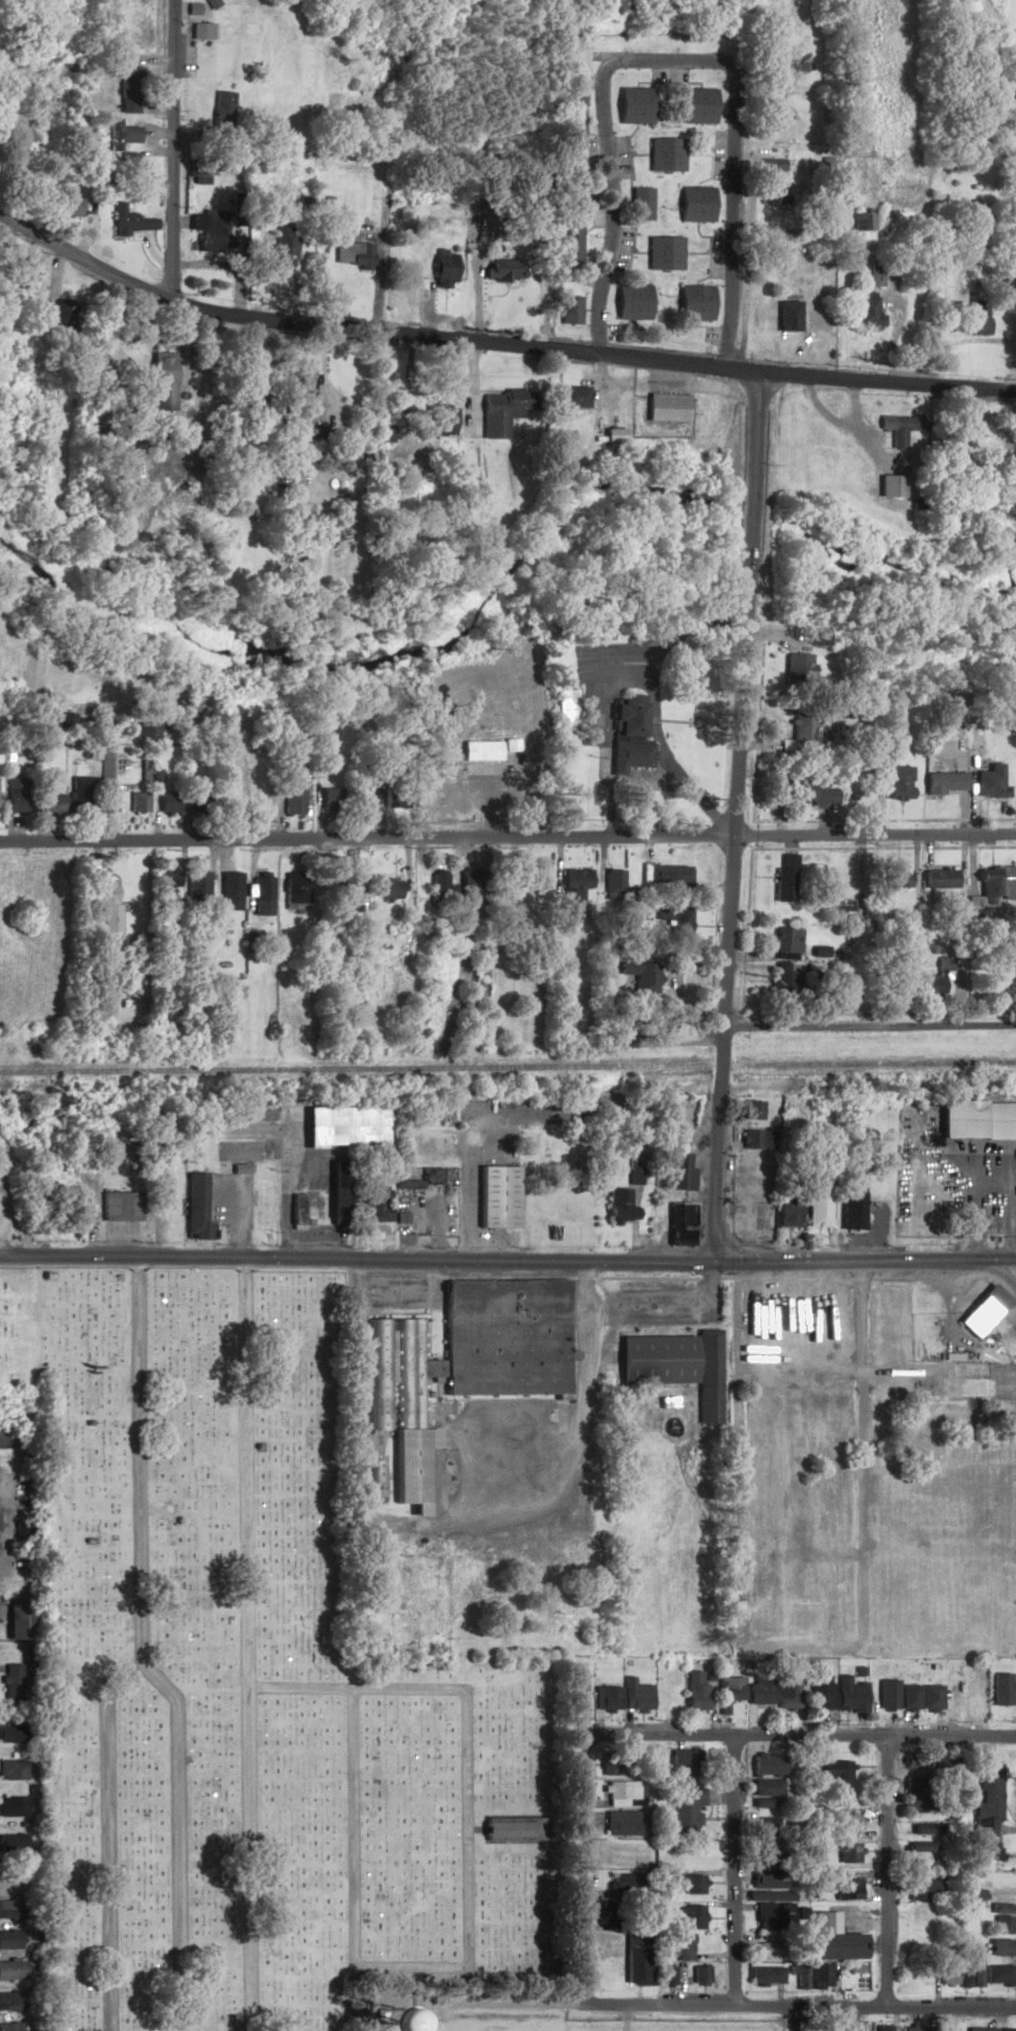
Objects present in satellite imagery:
road: (673, 60)
building: (352, 83)
building: (128, 89)
building: (634, 105)
building: (696, 106)
building: (222, 108)
building: (571, 115)
building: (122, 132)
road: (172, 150)
building: (663, 154)
building: (128, 166)
building: (198, 175)
building: (570, 185)
building: (774, 192)
building: (641, 203)
building: (695, 203)
building: (68, 206)
building: (971, 216)
building: (862, 220)
building: (129, 221)
road: (382, 223)
building: (210, 231)
building: (570, 243)
building: (282, 245)
building: (664, 252)
building: (353, 254)
building: (23, 272)
building: (876, 272)
building: (503, 276)
building: (443, 277)
building: (632, 302)
building: (694, 303)
building: (570, 309)
building: (865, 313)
building: (787, 316)
building: (976, 320)
road: (892, 328)
road: (157, 340)
road: (497, 342)
road: (322, 352)
road: (1015, 363)
building: (161, 381)
building: (299, 391)
building: (568, 397)
building: (511, 401)
building: (667, 408)
building: (438, 420)
building: (899, 428)
building: (889, 486)
building: (153, 692)
building: (59, 721)
building: (798, 729)
building: (140, 733)
building: (562, 734)
building: (626, 735)
building: (478, 750)
road: (104, 782)
building: (894, 783)
building: (941, 783)
building: (987, 783)
building: (11, 795)
building: (75, 795)
building: (809, 795)
building: (288, 797)
building: (360, 798)
building: (324, 800)
building: (46, 803)
building: (133, 803)
building: (162, 803)
road: (730, 818)
road: (507, 837)
building: (663, 875)
building: (936, 879)
building: (892, 880)
building: (162, 881)
building: (782, 882)
building: (610, 884)
building: (572, 885)
building: (193, 886)
building: (995, 886)
building: (435, 888)
building: (386, 889)
building: (464, 889)
building: (225, 891)
building: (290, 891)
building: (349, 893)
building: (257, 896)
building: (103, 907)
building: (841, 909)
building: (672, 921)
building: (784, 940)
building: (1012, 970)
building: (639, 978)
building: (889, 983)
building: (931, 984)
building: (779, 986)
road: (866, 1025)
road: (358, 1056)
railway: (507, 1067)
building: (750, 1110)
building: (251, 1111)
building: (976, 1120)
building: (340, 1127)
building: (754, 1140)
building: (232, 1151)
building: (218, 1168)
parking lot: (299, 1168)
building: (237, 1169)
building: (674, 1171)
building: (418, 1180)
building: (334, 1190)
building: (494, 1197)
building: (849, 1199)
building: (370, 1205)
building: (115, 1206)
building: (617, 1207)
building: (70, 1208)
parking lot: (228, 1208)
building: (293, 1208)
building: (193, 1209)
building: (815, 1209)
building: (785, 1211)
building: (398, 1218)
building: (678, 1226)
parking lot: (869, 1229)
road: (433, 1231)
road: (507, 1261)
road: (644, 1278)
parking lot: (393, 1293)
road: (408, 1293)
road: (663, 1305)
building: (983, 1308)
building: (501, 1339)
building: (654, 1358)
building: (393, 1372)
building: (706, 1375)
building: (966, 1387)
parking lot: (499, 1459)
building: (409, 1465)
building: (372, 1477)
road: (455, 1531)
building: (10, 1621)
road: (244, 1644)
road: (136, 1648)
building: (11, 1681)
park: (250, 1682)
road: (354, 1687)
building: (758, 1689)
building: (999, 1689)
building: (693, 1690)
building: (819, 1692)
building: (886, 1693)
building: (849, 1694)
building: (634, 1695)
building: (727, 1695)
building: (785, 1696)
building: (909, 1696)
building: (931, 1697)
building: (606, 1698)
building: (974, 1699)
building: (11, 1734)
road: (796, 1735)
building: (942, 1761)
building: (680, 1762)
building: (609, 1763)
building: (913, 1763)
building: (12, 1768)
building: (835, 1771)
building: (765, 1774)
building: (618, 1792)
building: (913, 1793)
building: (988, 1800)
building: (759, 1802)
building: (11, 1806)
building: (684, 1808)
building: (619, 1822)
building: (845, 1825)
building: (763, 1826)
building: (510, 1828)
building: (922, 1828)
road: (464, 1830)
building: (919, 1846)
building: (846, 1852)
building: (767, 1853)
road: (178, 1863)
road: (731, 1870)
road: (579, 1871)
road: (882, 1872)
building: (997, 1878)
building: (765, 1879)
road: (350, 1881)
building: (691, 1884)
building: (917, 1885)
building: (846, 1888)
building: (969, 1894)
building: (1001, 1908)
building: (7, 1909)
building: (772, 1911)
building: (692, 1916)
building: (919, 1918)
building: (1001, 1924)
building: (8, 1939)
building: (830, 1940)
building: (676, 1946)
building: (999, 1947)
building: (766, 1949)
building: (635, 1958)
building: (11, 1970)
building: (975, 1971)
building: (698, 1974)
building: (764, 1974)
building: (946, 1974)
building: (998, 1974)
building: (665, 1975)
building: (9, 2001)
road: (798, 2007)
road: (791, 2019)
water tower: (378, 2024)
building: (9, 2027)
building: (883, 2028)
building: (913, 2028)
building: (1005, 2029)
building: (984, 2030)

